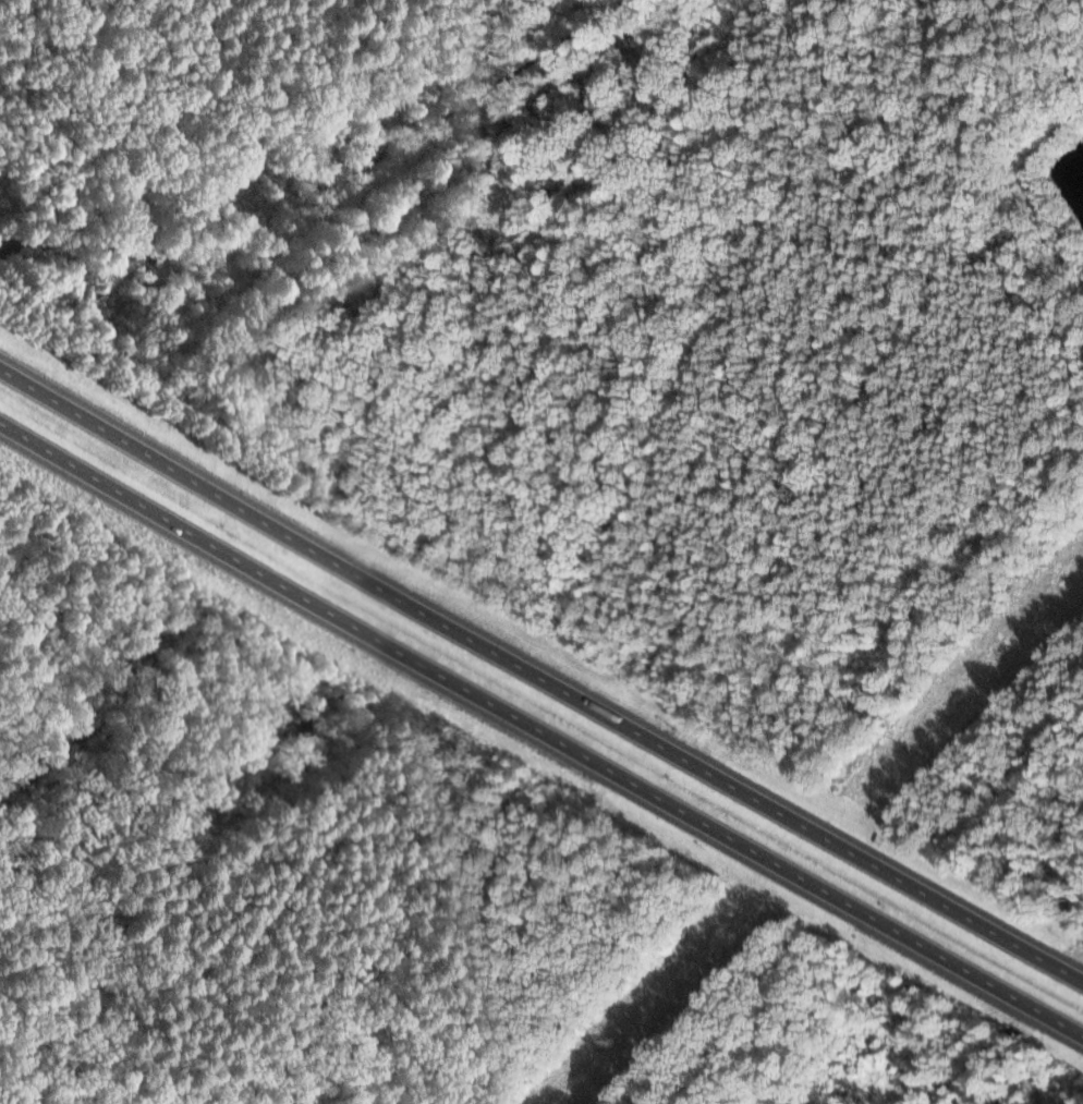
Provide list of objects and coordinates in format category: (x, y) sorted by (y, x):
road: (541, 676)
road: (541, 730)
power tower: (902, 745)
power tower: (620, 1045)

